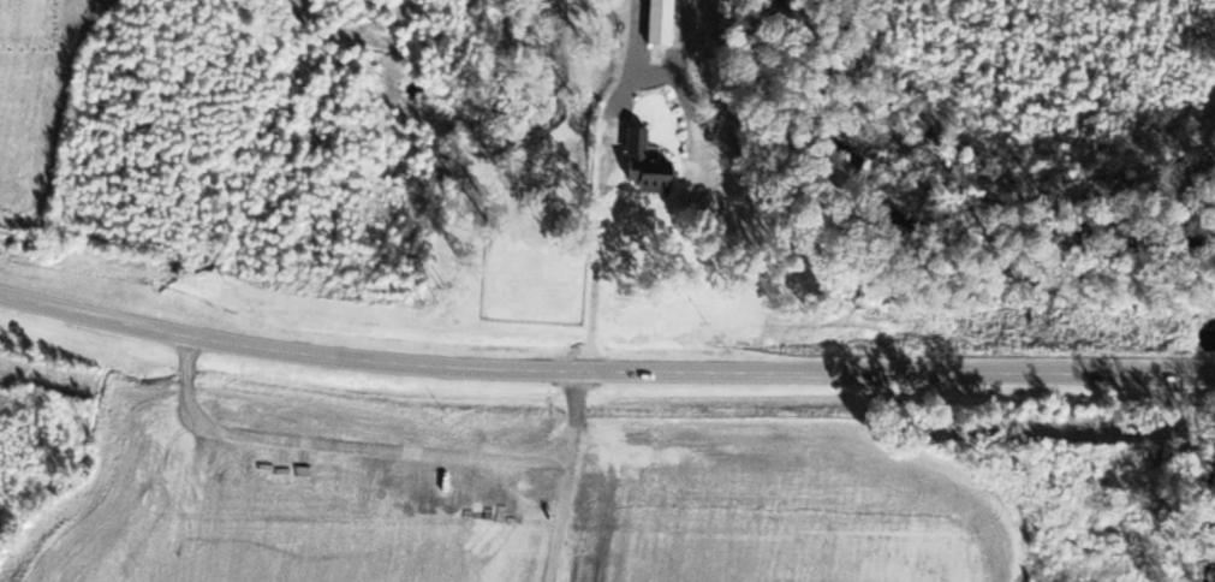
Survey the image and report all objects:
building: (665, 22)
building: (650, 164)
road: (603, 369)

